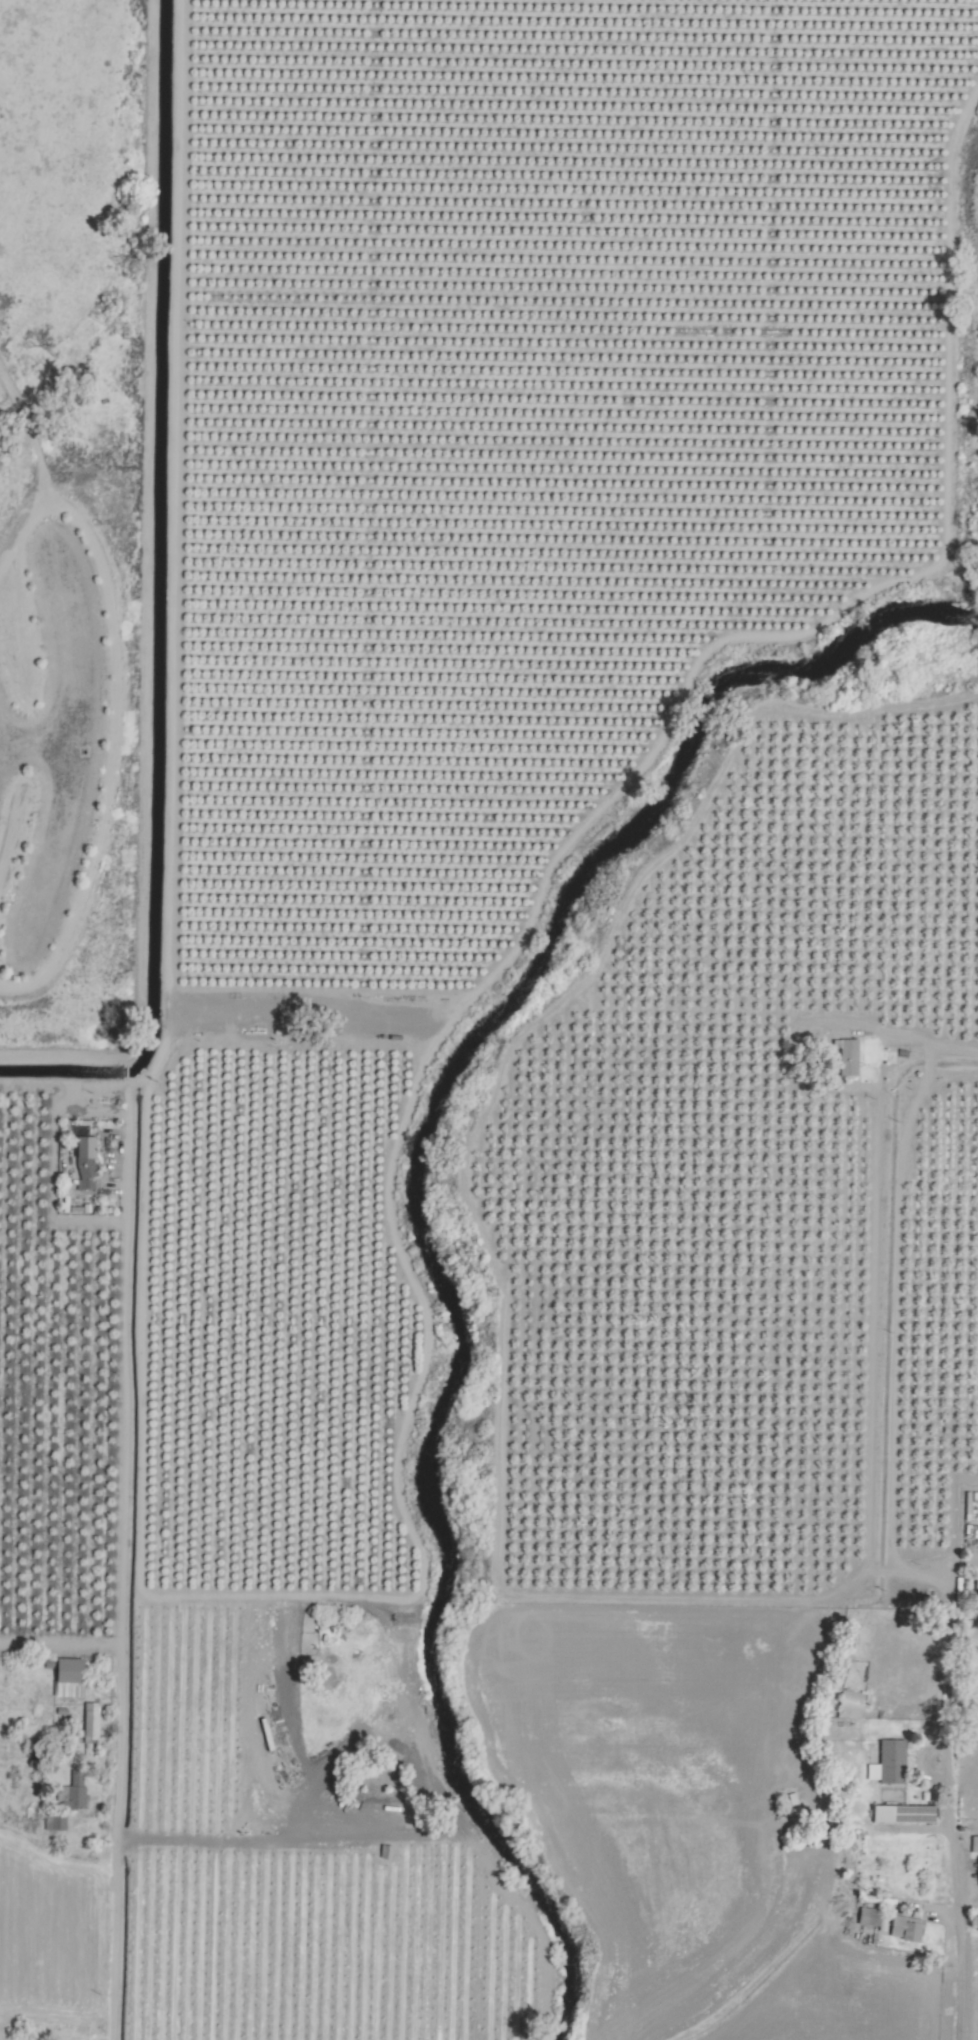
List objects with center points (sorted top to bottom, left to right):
crop: (970, 378)
crop: (9, 509)
crop: (75, 545)
building: (846, 1057)
crop: (524, 1064)
road: (961, 1070)
building: (84, 1156)
building: (975, 1582)
road: (116, 1586)
road: (57, 1646)
building: (66, 1678)
building: (850, 1703)
building: (90, 1722)
building: (890, 1761)
building: (72, 1791)
building: (900, 1813)
building: (973, 1843)
road: (956, 1889)
building: (867, 1916)
building: (903, 1928)

